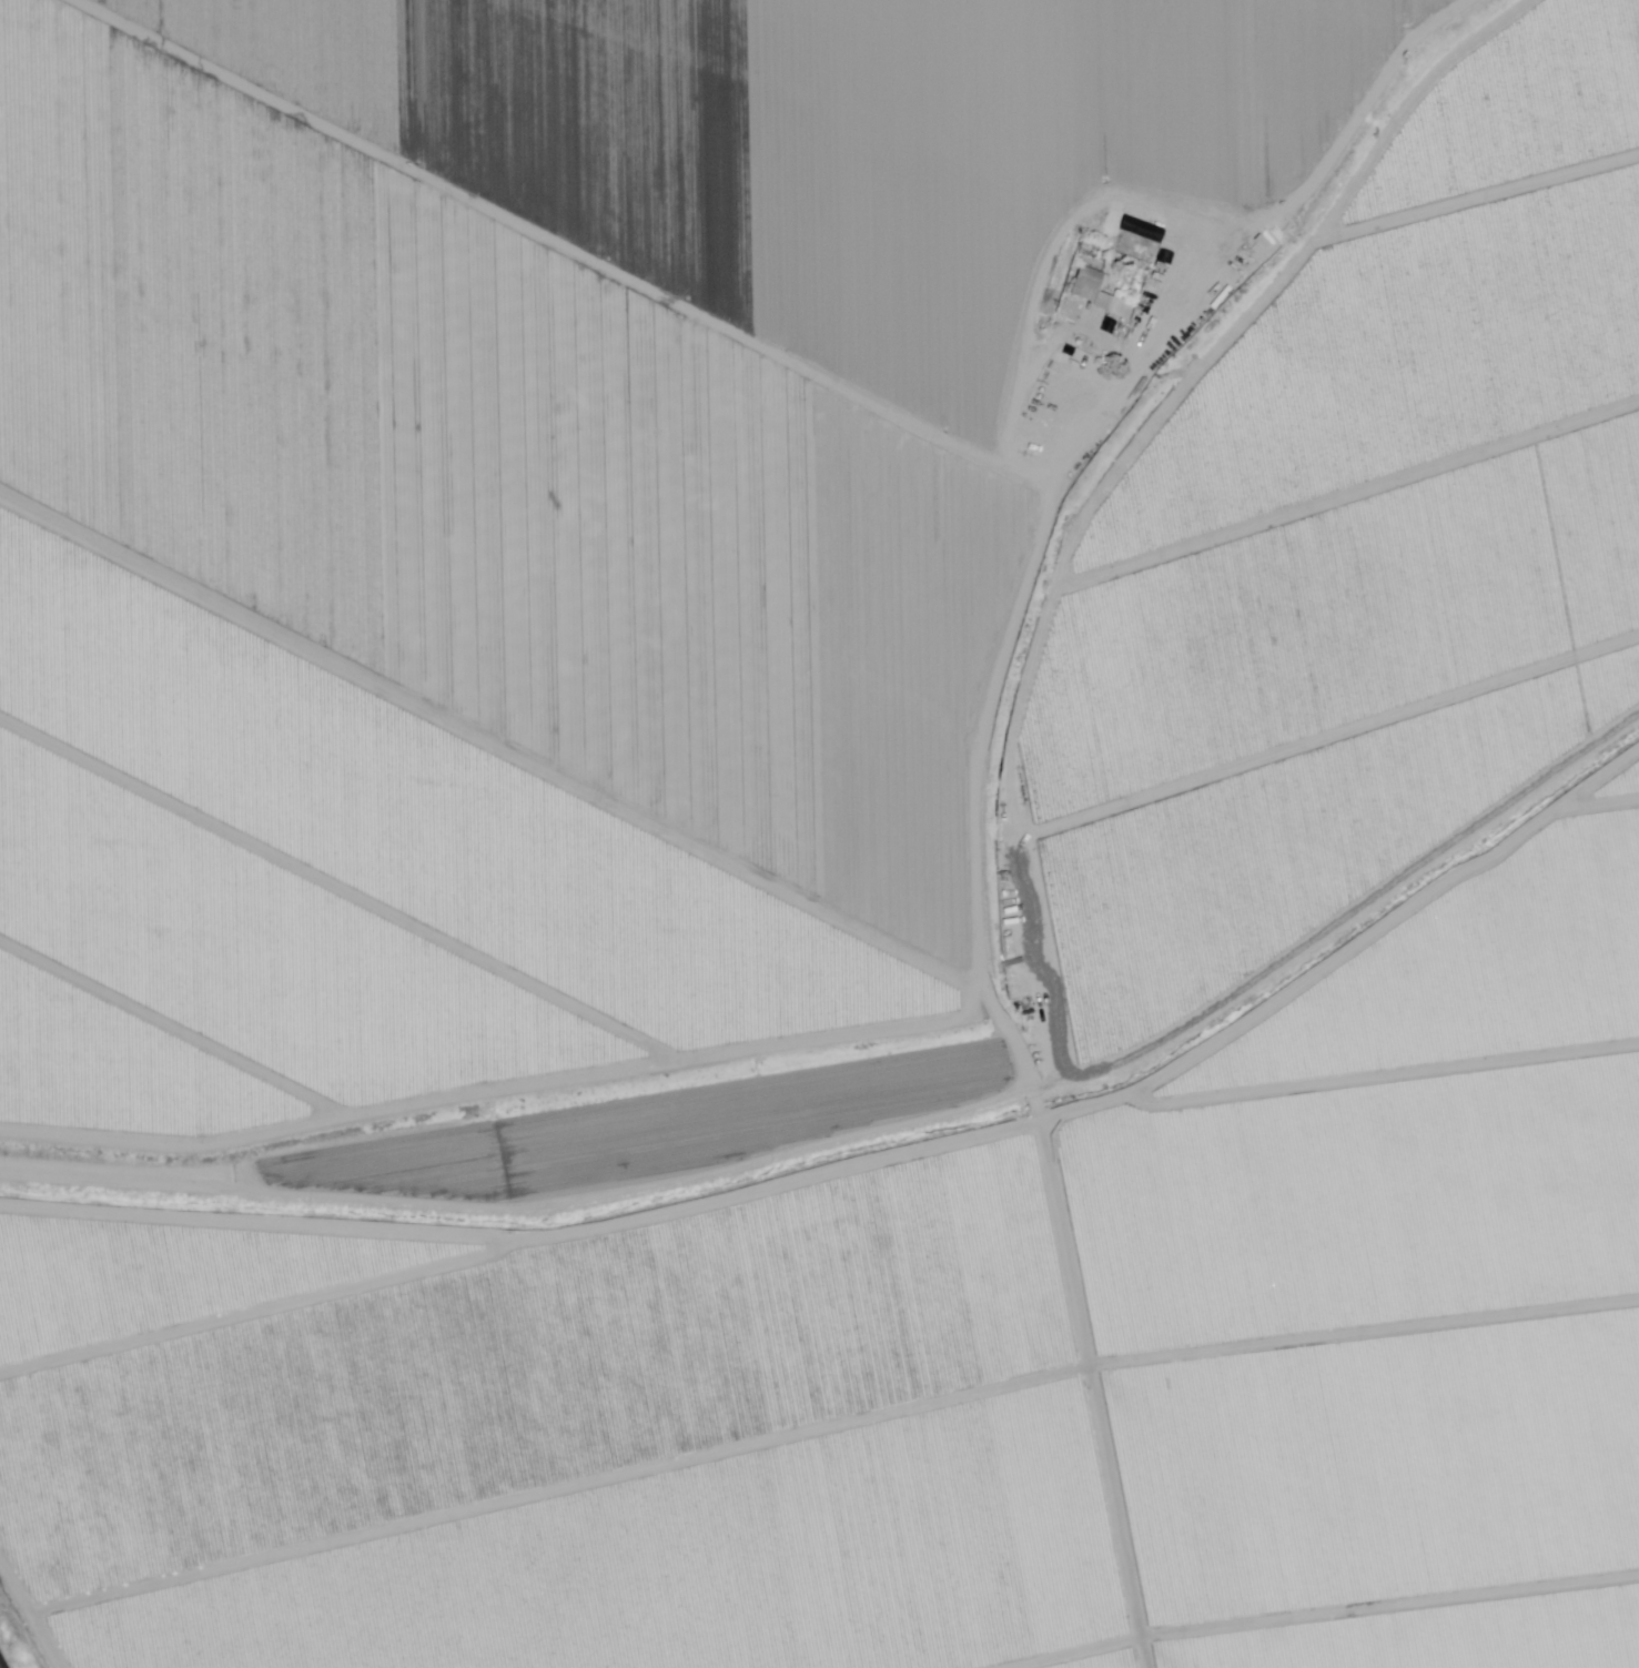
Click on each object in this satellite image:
crop: (1362, 19)
crop: (1054, 85)
crop: (1561, 93)
crop: (671, 180)
building: (1266, 242)
crop: (1364, 254)
building: (1092, 283)
building: (1123, 306)
crop: (1587, 309)
crop: (505, 352)
crop: (1281, 533)
crop: (1609, 567)
crop: (463, 613)
crop: (1308, 793)
crop: (1601, 810)
crop: (392, 873)
crop: (163, 1049)
crop: (1407, 1054)
crop: (833, 1096)
crop: (496, 1154)
crop: (542, 1334)
crop: (1366, 1363)
crop: (594, 1566)
crop: (1418, 1606)
crop: (1134, 1667)

